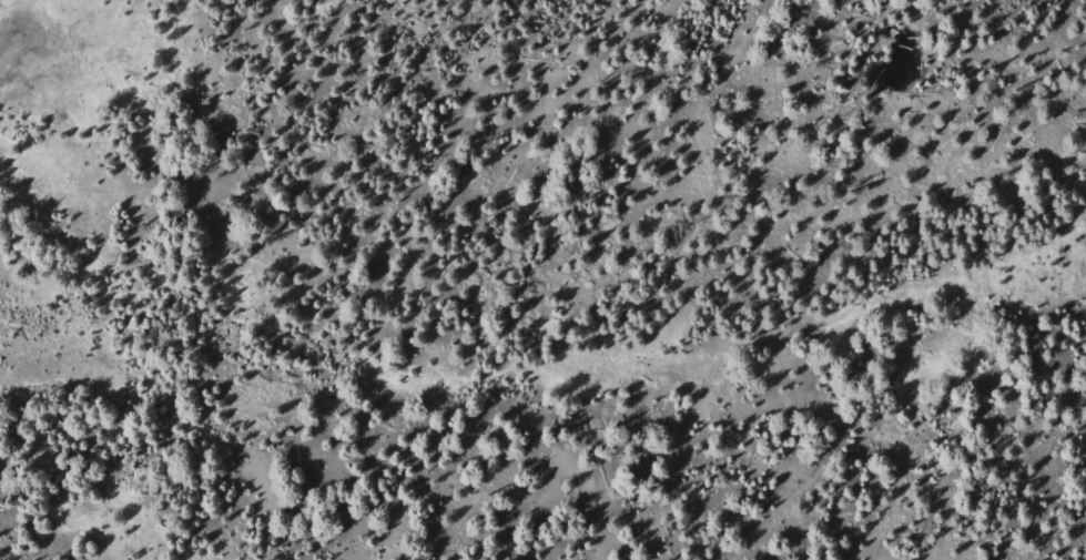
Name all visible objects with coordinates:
road: (743, 287)

